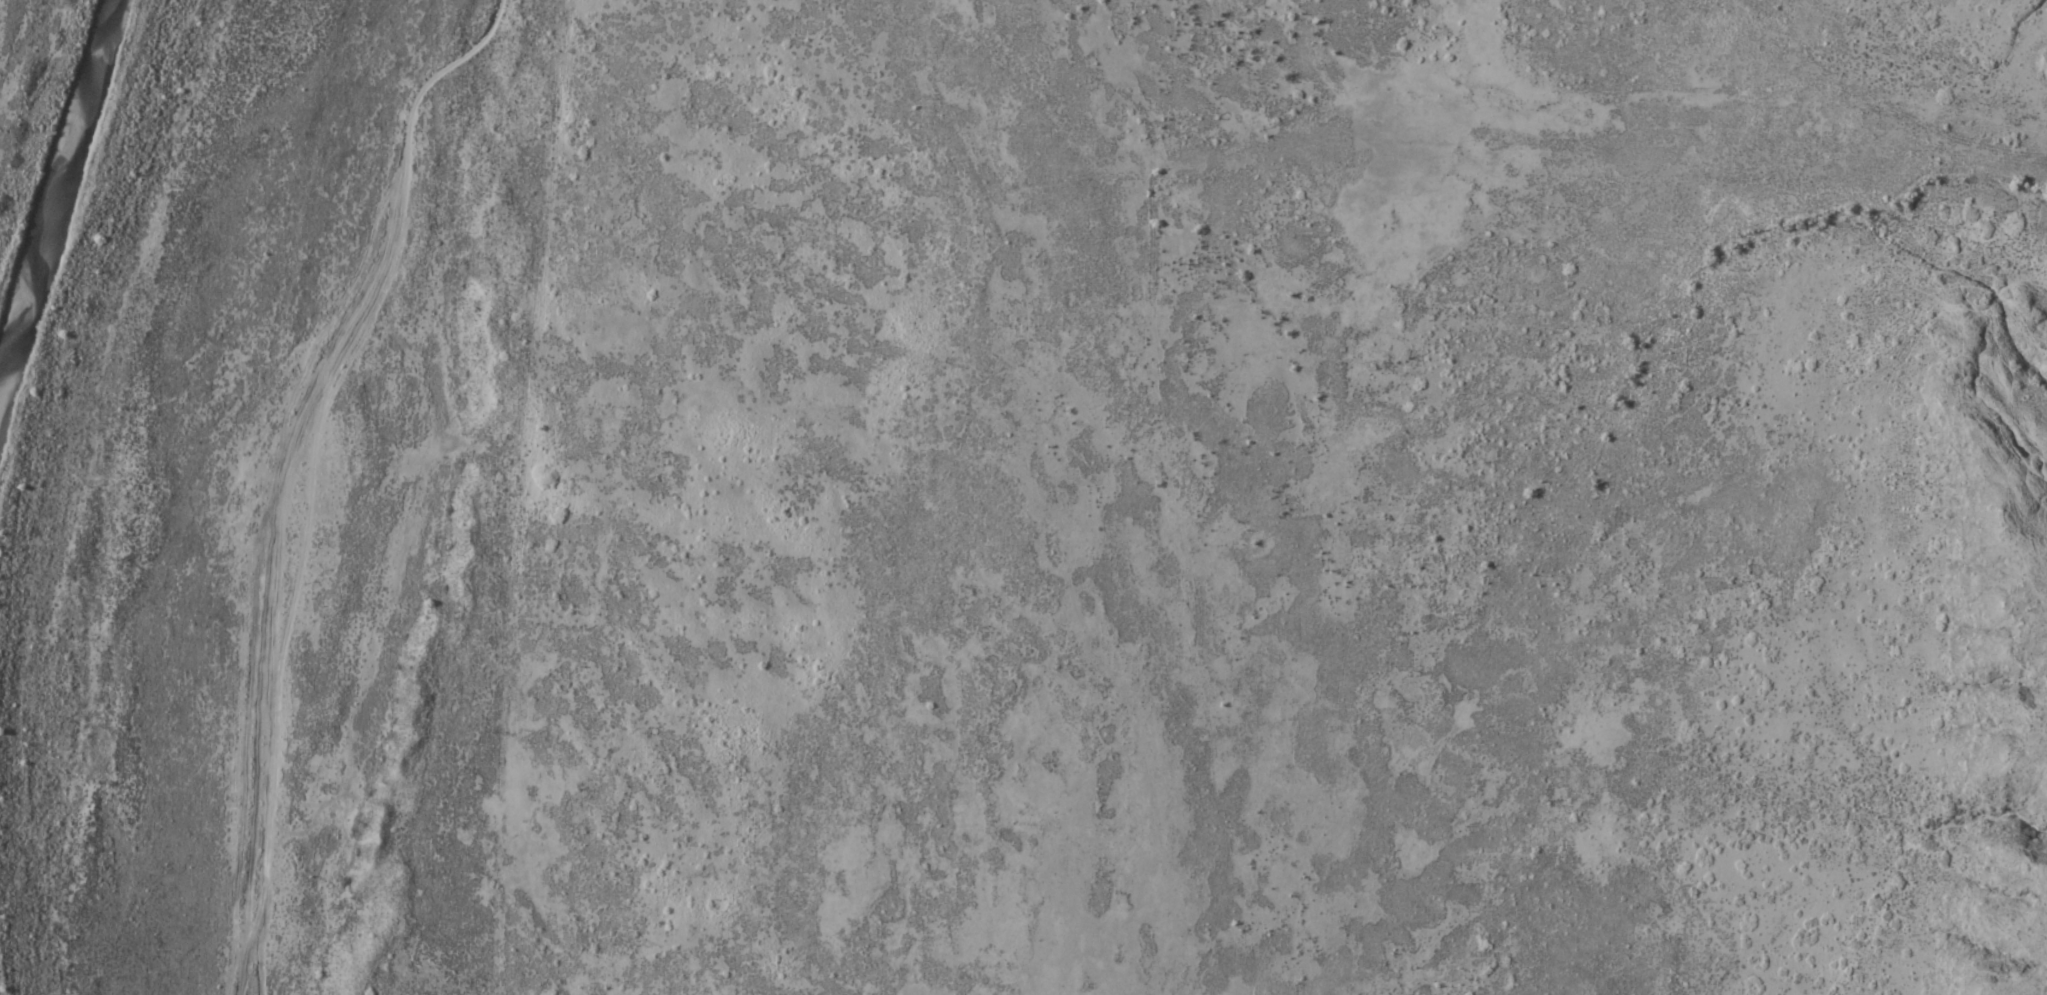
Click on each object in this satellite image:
road: (1188, 143)
river: (59, 211)
road: (311, 472)

